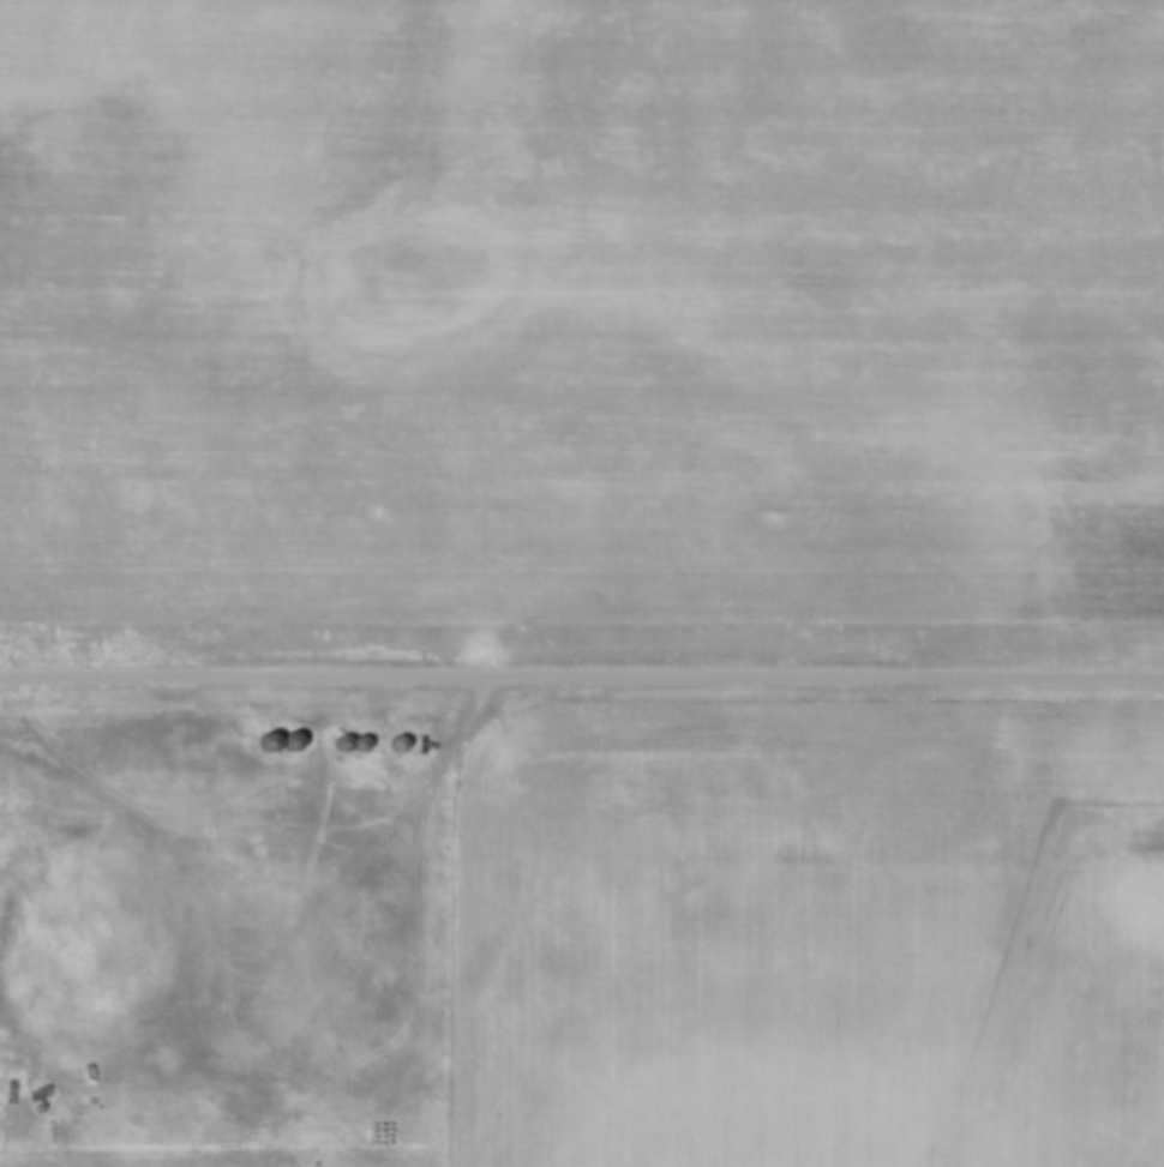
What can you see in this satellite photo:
road: (581, 679)
building: (260, 734)
silo: (260, 734)
building: (283, 734)
silo: (283, 734)
building: (335, 735)
silo: (335, 735)
building: (352, 735)
silo: (352, 735)
building: (390, 735)
silo: (390, 735)
road: (277, 776)

